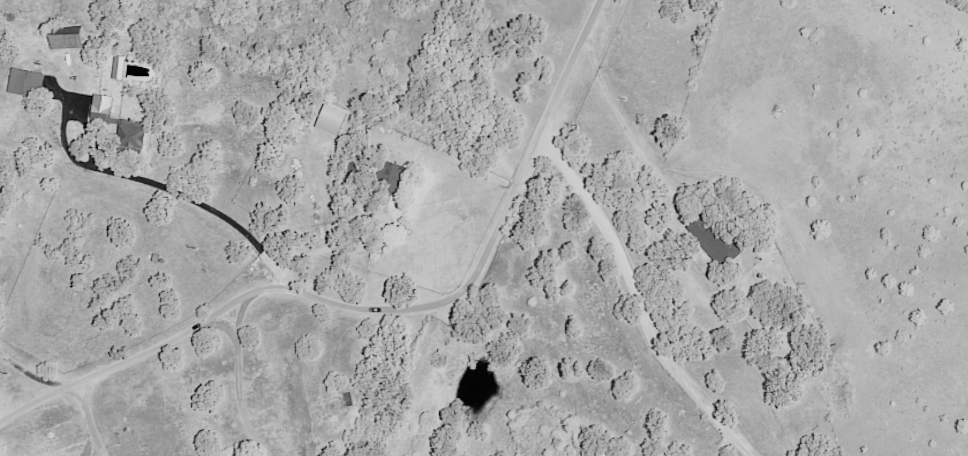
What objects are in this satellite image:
building: (65, 41)
building: (117, 67)
building: (25, 81)
building: (330, 120)
building: (118, 123)
road: (531, 154)
building: (391, 176)
road: (662, 179)
building: (0, 186)
road: (216, 214)
building: (717, 242)
road: (322, 249)
road: (641, 300)
road: (219, 316)
road: (243, 317)
road: (242, 372)
road: (30, 376)
road: (89, 419)
road: (725, 444)

